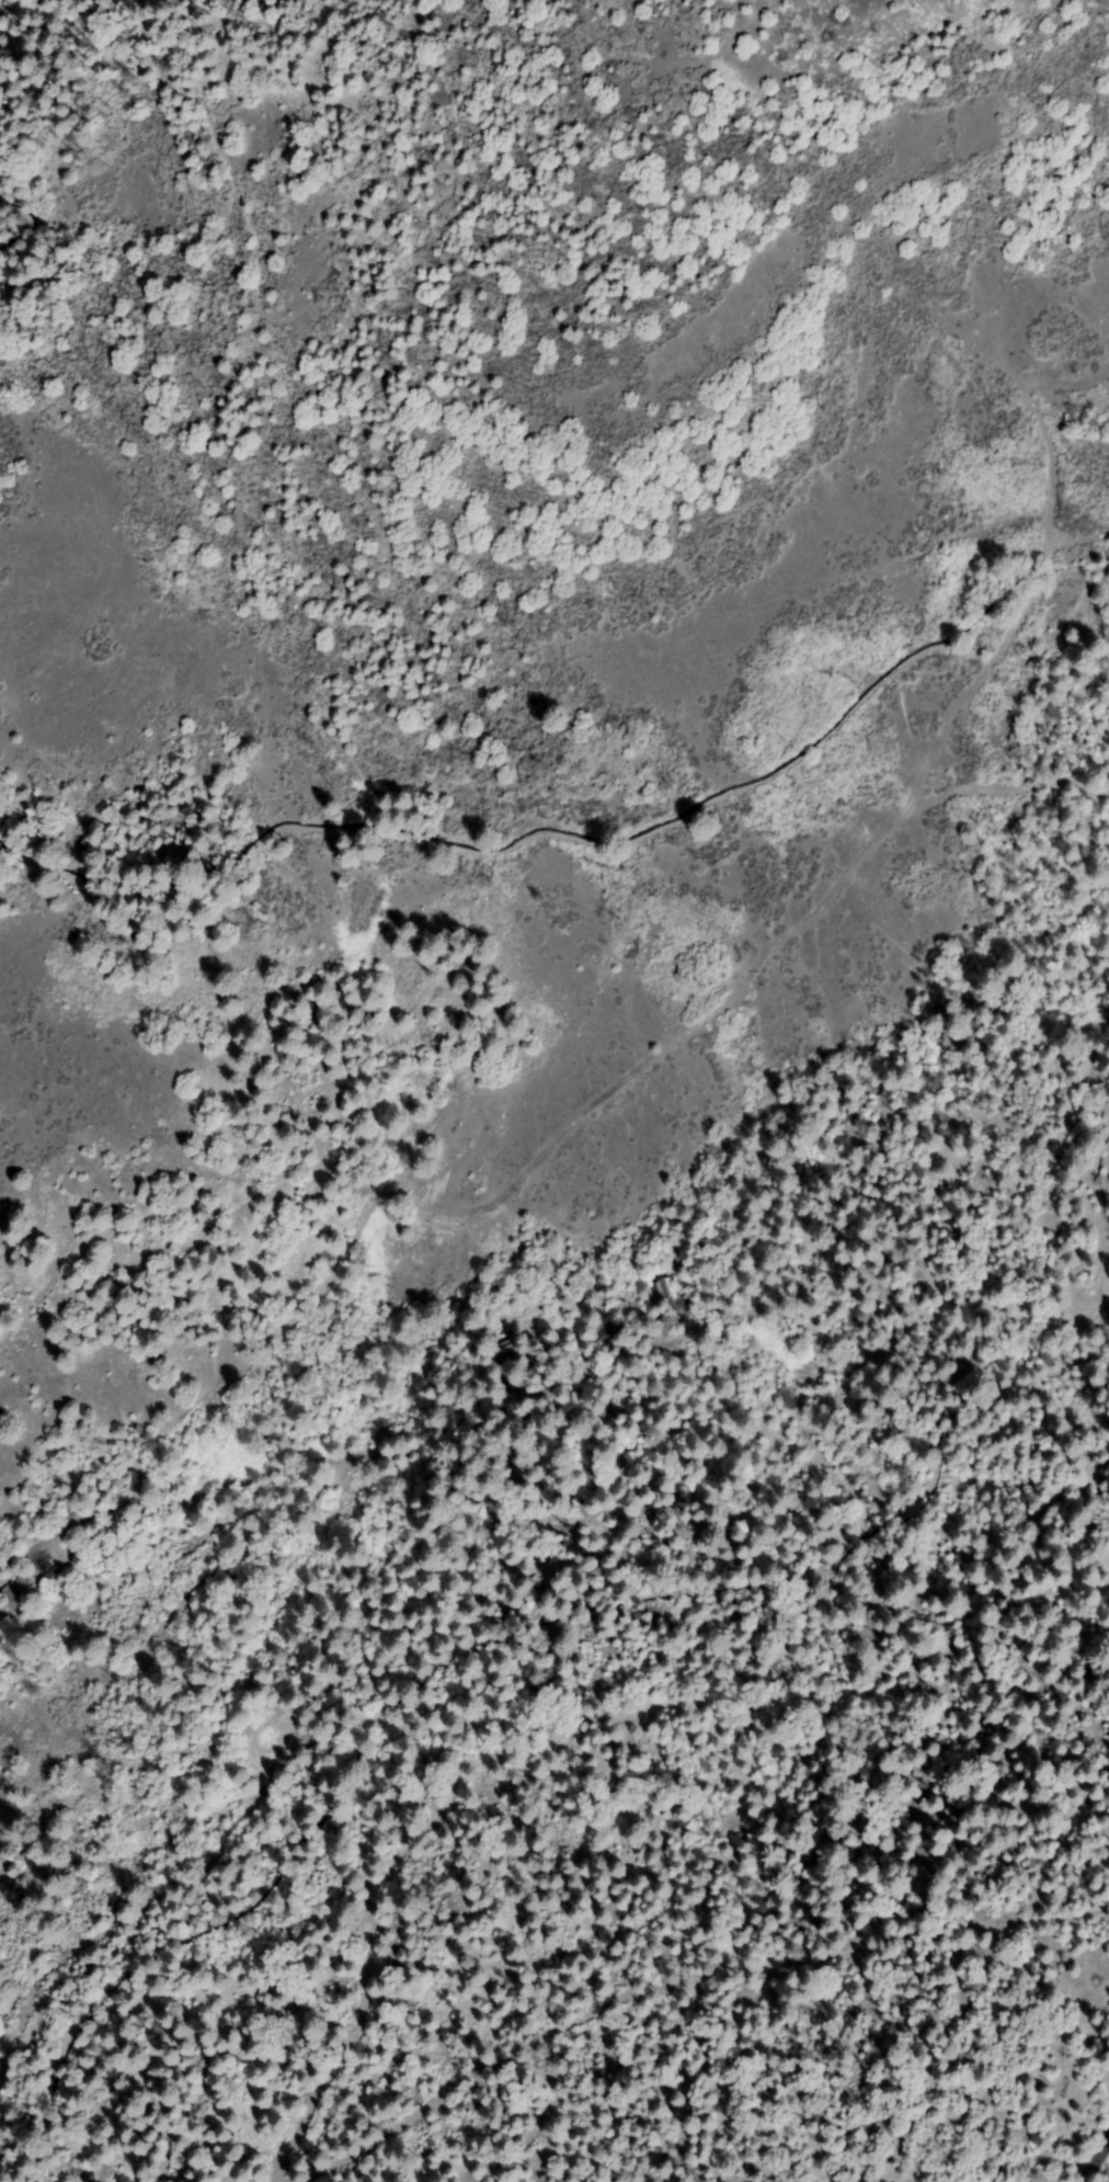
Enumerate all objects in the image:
road: (961, 647)
building: (671, 1298)
building: (607, 1331)
building: (546, 1346)
building: (508, 1354)
building: (604, 1418)
road: (42, 1549)
building: (18, 1595)
road: (1096, 2159)

